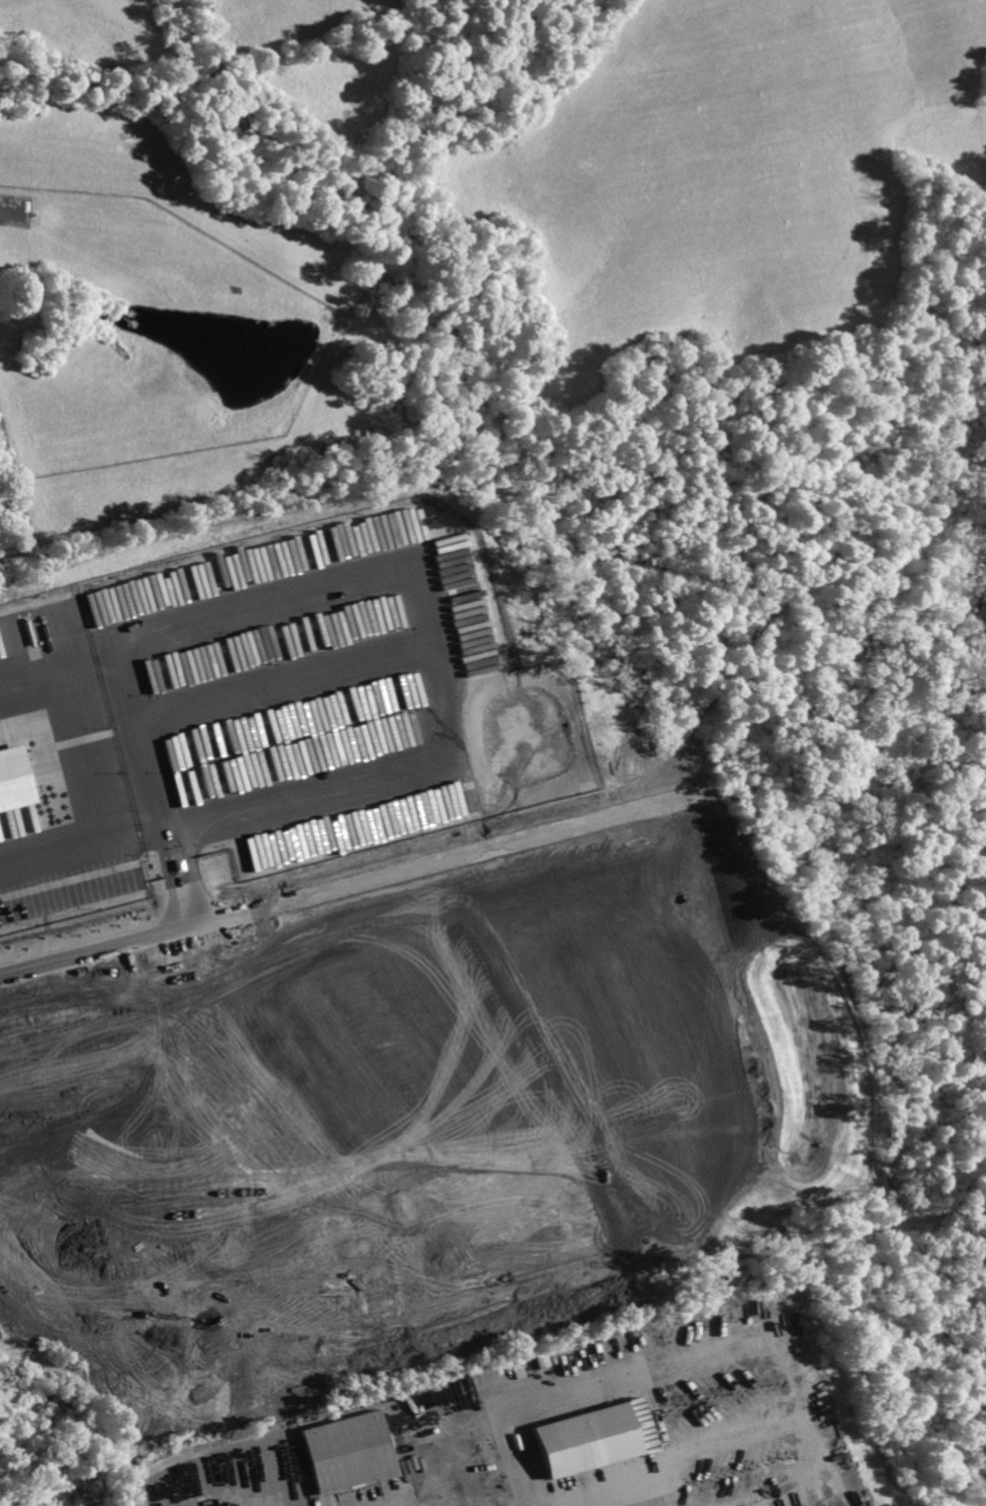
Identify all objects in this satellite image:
road: (281, 683)
road: (95, 768)
building: (15, 782)
road: (181, 830)
road: (168, 834)
road: (348, 950)
road: (745, 1026)
road: (11, 1187)
road: (688, 1349)
building: (593, 1437)
building: (338, 1456)
park: (68, 1488)
building: (435, 1489)
building: (438, 1502)
road: (514, 1505)
road: (522, 1505)
road: (760, 1505)

